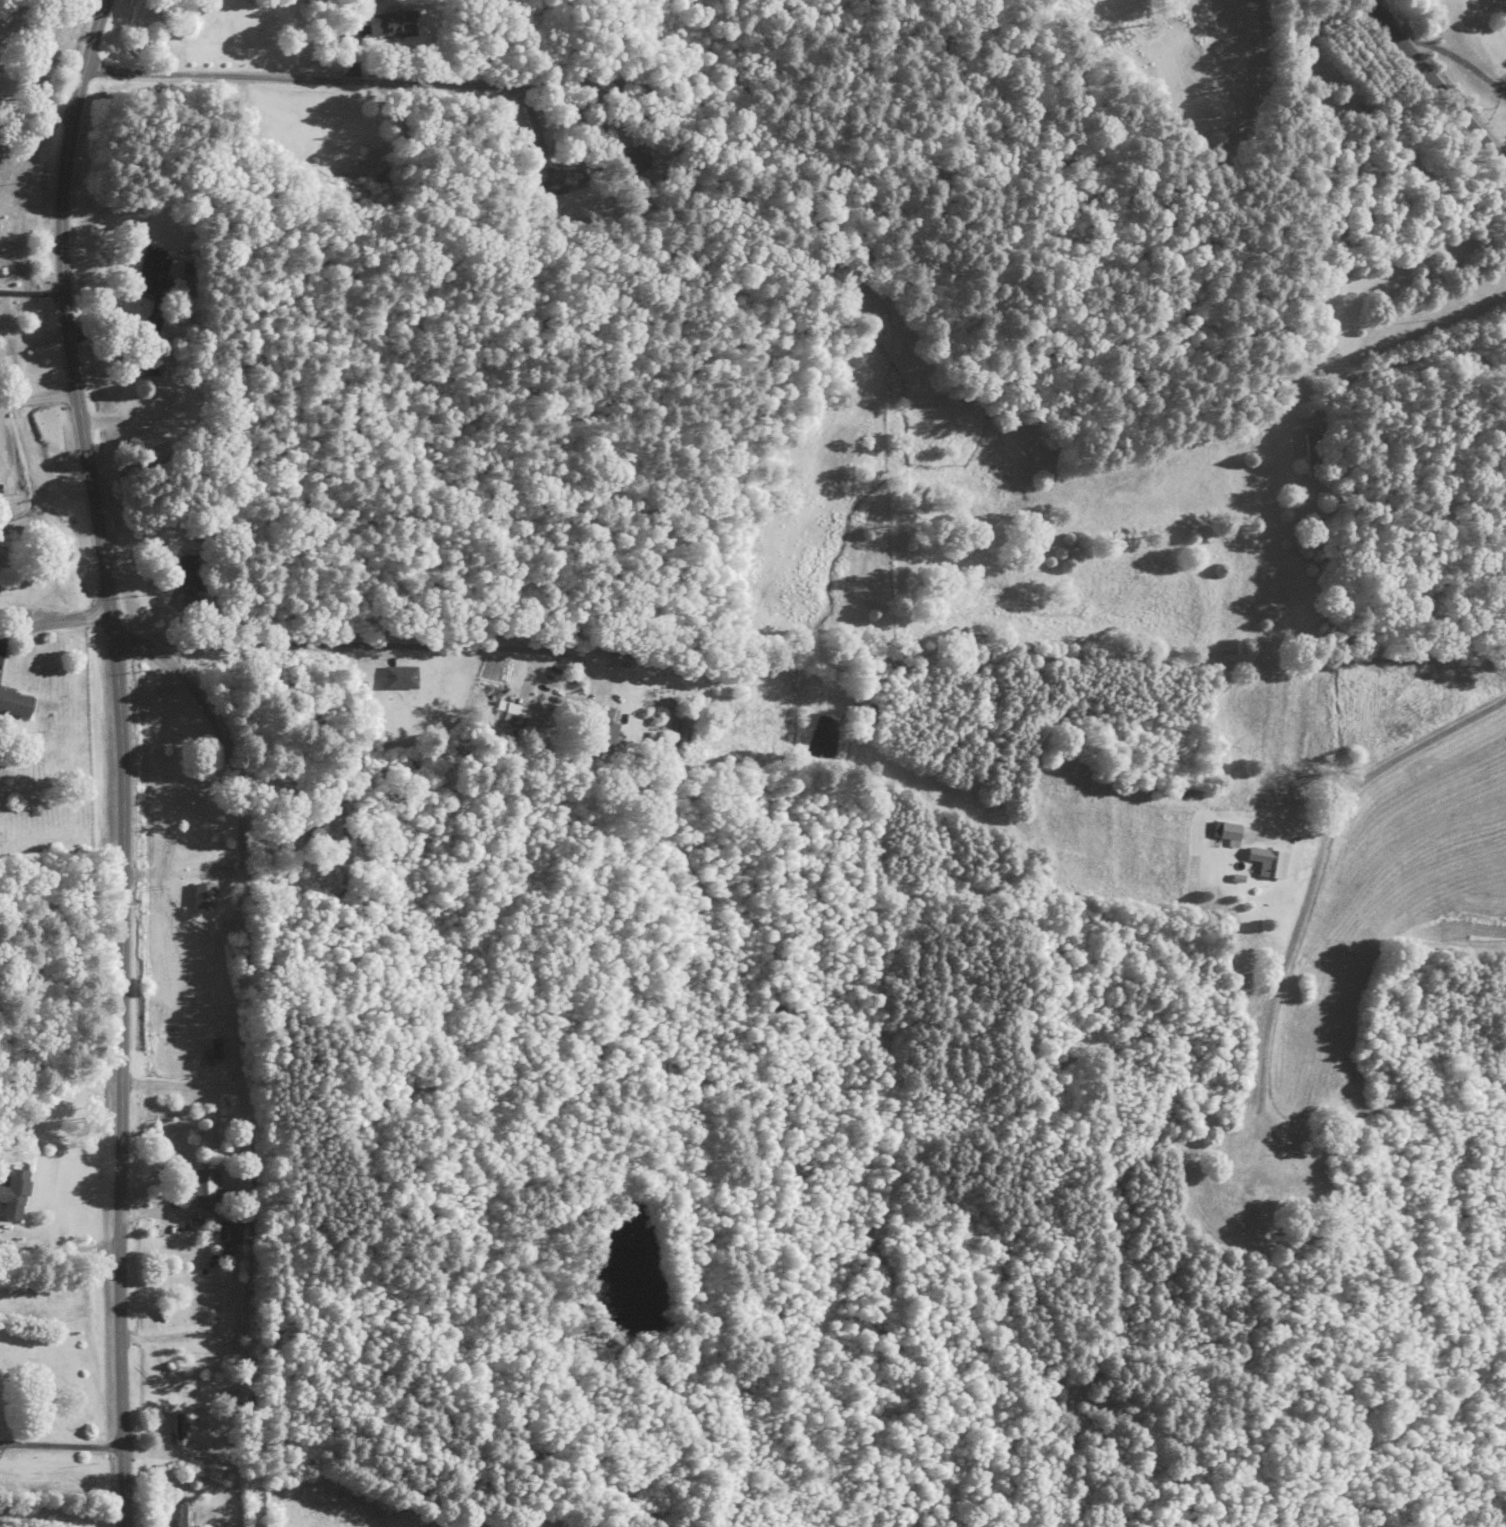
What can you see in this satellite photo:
building: (392, 28)
road: (1449, 83)
road: (667, 126)
building: (343, 152)
building: (635, 158)
road: (244, 172)
building: (570, 176)
building: (152, 274)
building: (149, 366)
building: (1312, 457)
road: (128, 480)
road: (96, 574)
building: (192, 575)
building: (401, 679)
building: (16, 705)
building: (520, 719)
building: (609, 737)
road: (267, 799)
building: (1227, 831)
building: (1269, 862)
building: (205, 896)
road: (74, 956)
building: (216, 1050)
road: (1430, 1089)
building: (1254, 1180)
building: (204, 1188)
building: (15, 1194)
building: (234, 1236)
building: (179, 1431)
road: (388, 1508)
building: (184, 1516)

